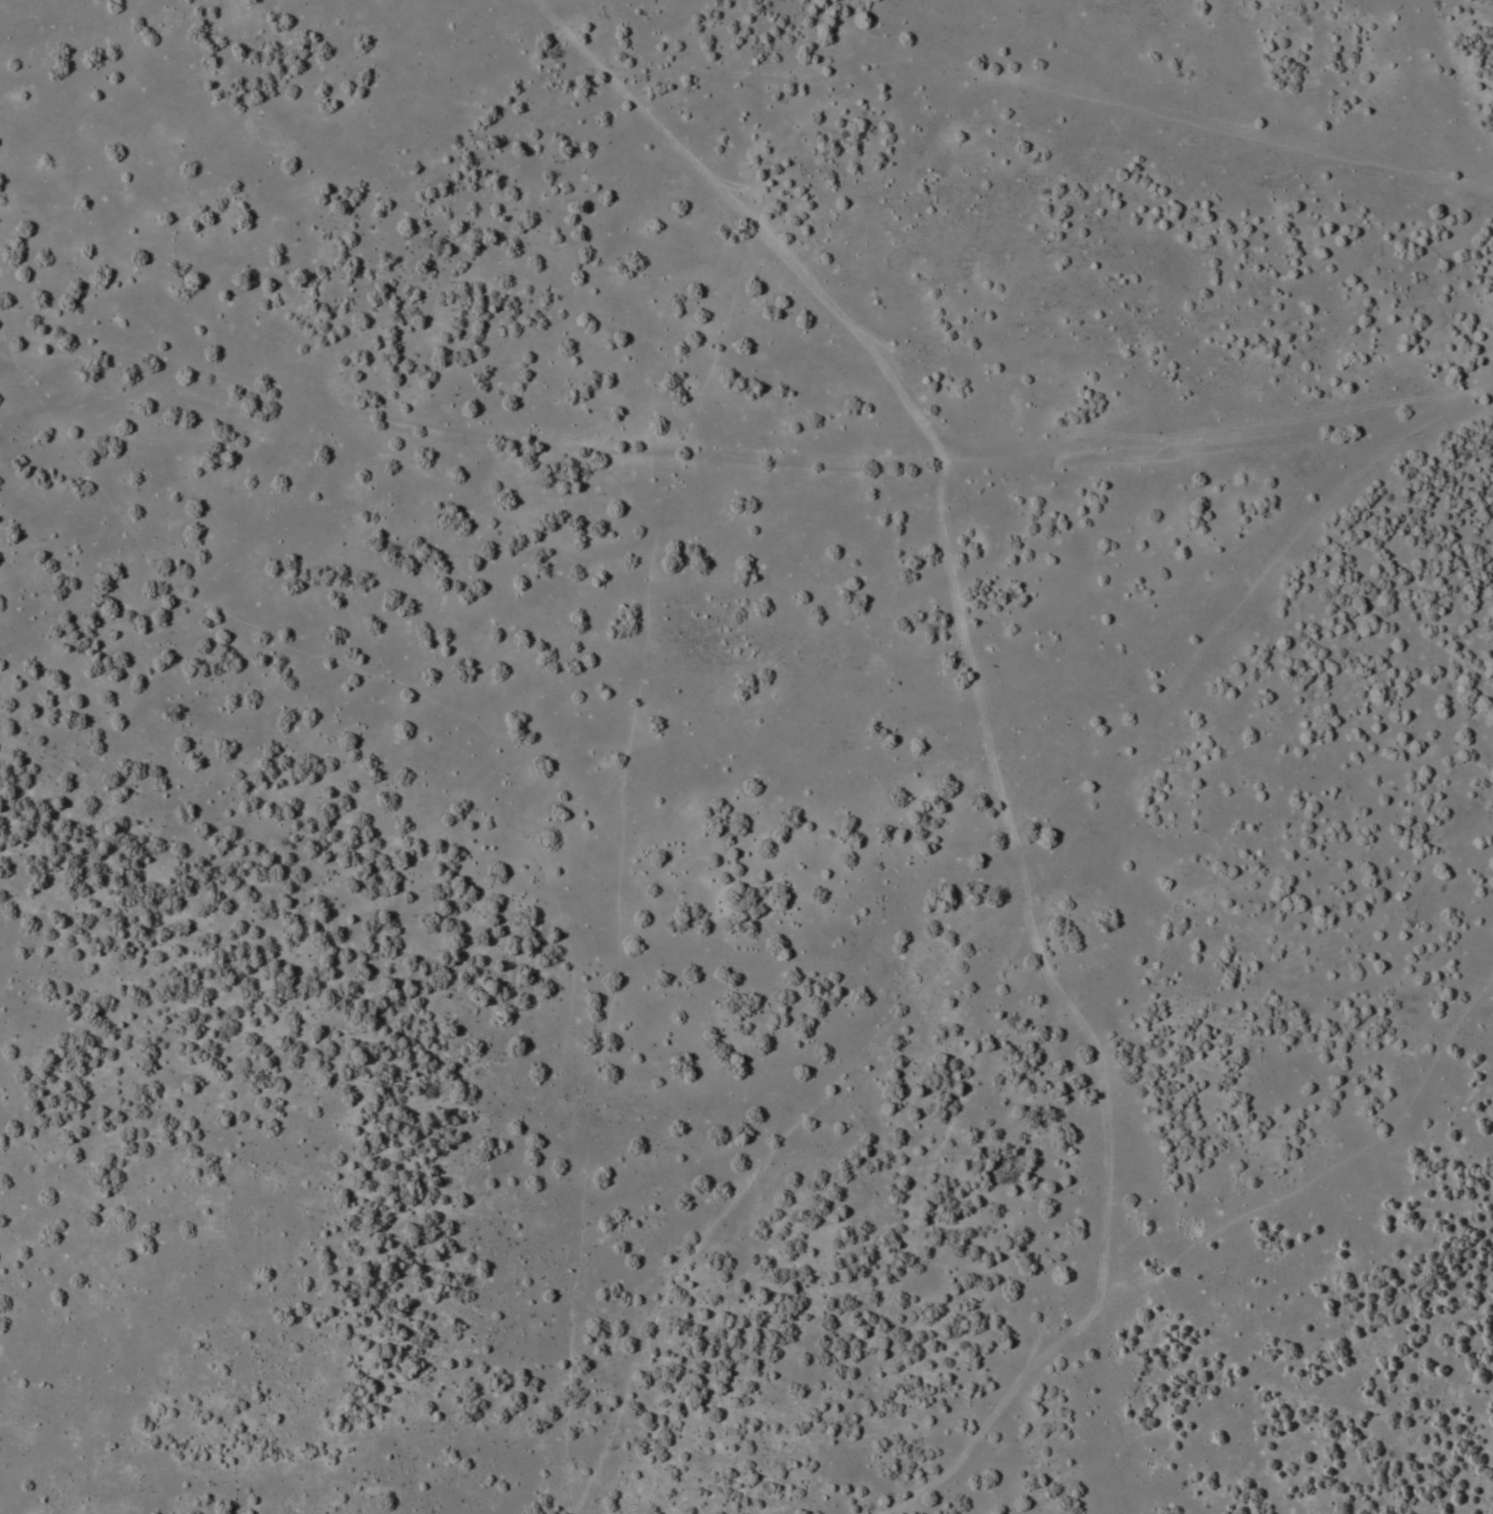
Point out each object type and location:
road: (1018, 730)

